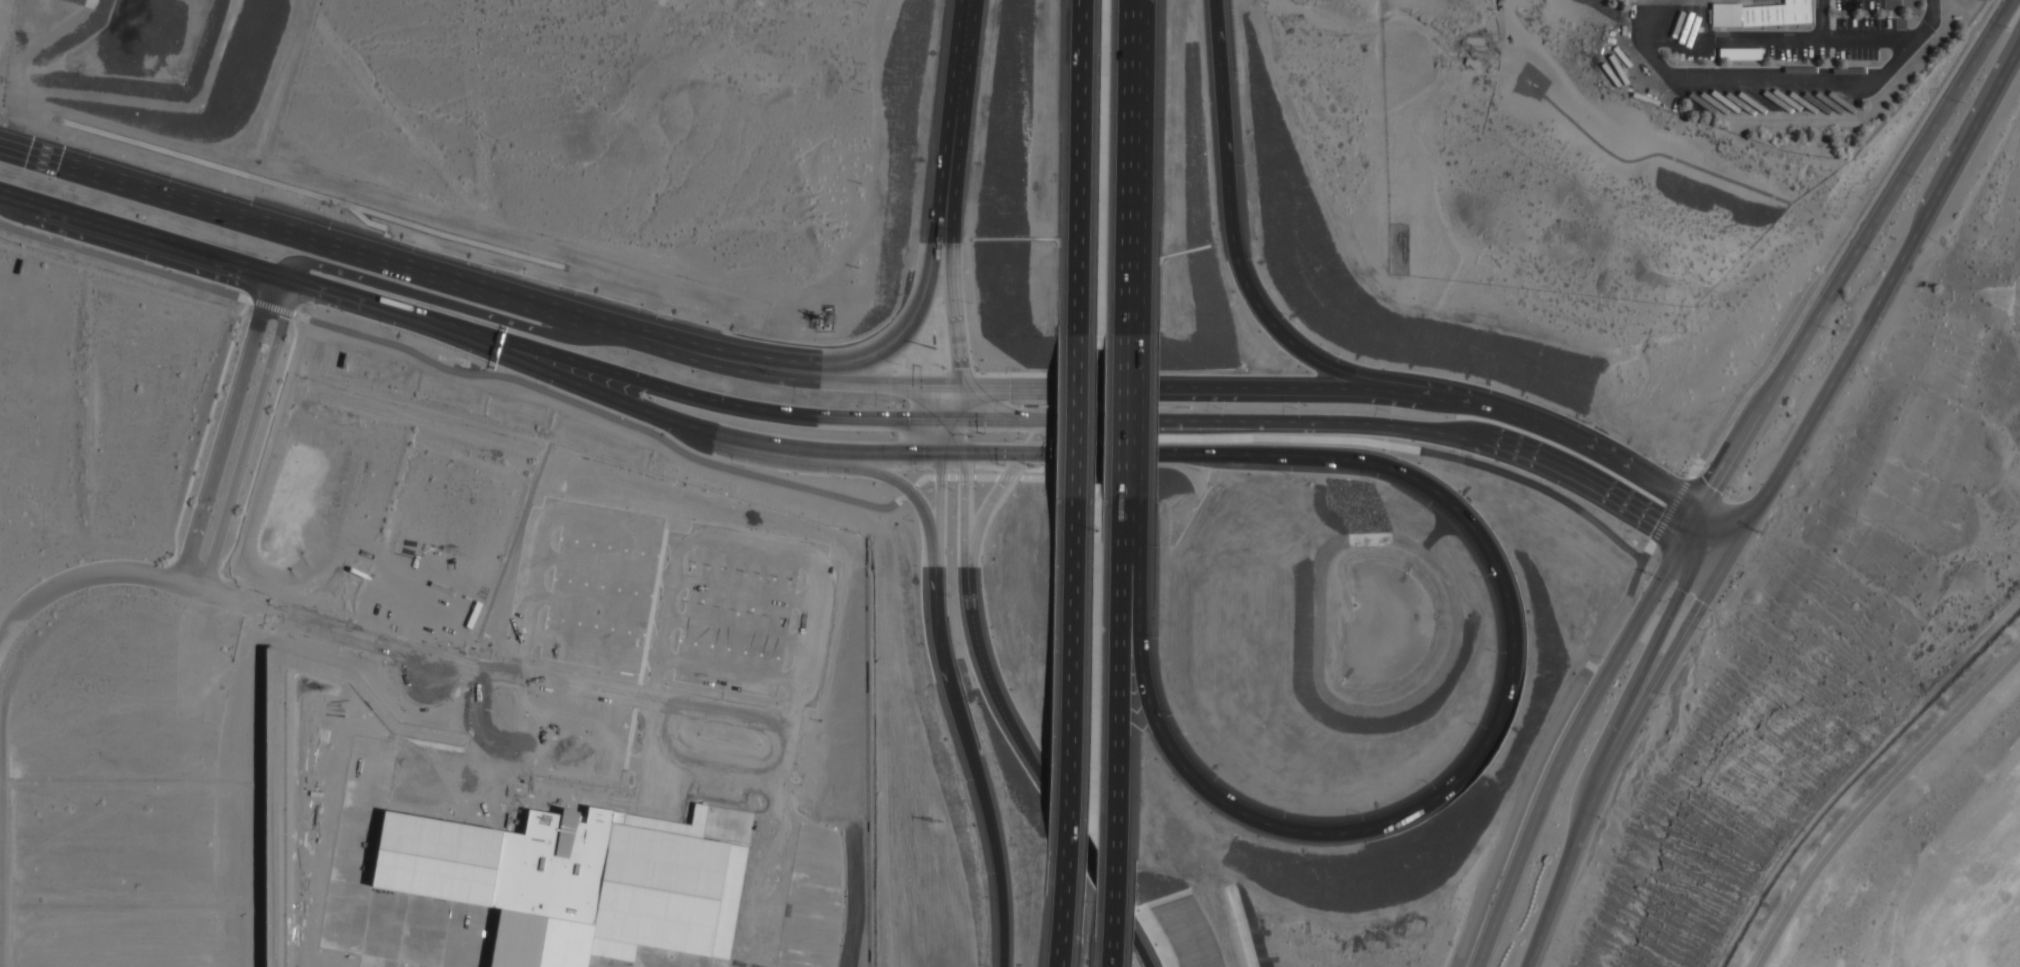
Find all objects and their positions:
building: (1759, 13)
road: (1820, 20)
parking lot: (1805, 36)
road: (1778, 40)
building: (1740, 53)
road: (1772, 83)
road: (961, 95)
road: (1924, 139)
road: (1074, 166)
road: (1128, 167)
road: (1953, 170)
road: (21, 200)
road: (1232, 231)
road: (158, 242)
road: (440, 276)
road: (955, 289)
road: (449, 301)
road: (371, 304)
road: (856, 364)
road: (1094, 386)
road: (905, 387)
road: (948, 388)
traffic signals: (966, 388)
road: (891, 389)
road: (1036, 393)
road: (974, 395)
road: (1770, 398)
road: (705, 401)
road: (926, 402)
road: (1073, 402)
road: (964, 408)
road: (1474, 408)
road: (1016, 412)
road: (1122, 415)
traffic signals: (948, 422)
road: (998, 422)
road: (1066, 422)
road: (1152, 422)
road: (696, 429)
road: (1049, 429)
road: (226, 430)
road: (1802, 432)
road: (247, 437)
road: (940, 437)
road: (959, 437)
road: (203, 444)
road: (1485, 447)
traffic signals: (940, 455)
road: (953, 455)
traffic signals: (966, 455)
road: (995, 455)
traffic signals: (1025, 455)
road: (260, 459)
road: (817, 465)
road: (1696, 468)
road: (832, 497)
road: (989, 509)
traffic signals: (1702, 517)
road: (1721, 527)
road: (1693, 531)
traffic signals: (1740, 538)
road: (682, 541)
traffic signals: (1684, 546)
traffic signals: (1694, 552)
traffic signals: (1721, 572)
road: (91, 577)
road: (676, 581)
parking lot: (676, 602)
road: (670, 620)
road: (666, 622)
road: (317, 626)
road: (975, 629)
road: (1071, 630)
road: (662, 660)
road: (1641, 671)
road: (474, 673)
road: (1118, 680)
road: (654, 703)
road: (959, 712)
road: (1502, 714)
road: (1565, 749)
parking lot: (578, 756)
road: (601, 759)
road: (1609, 762)
road: (669, 763)
road: (1874, 797)
road: (1068, 816)
road: (1071, 826)
airport: (1915, 844)
road: (772, 846)
building: (571, 883)
road: (1114, 892)
road: (1116, 902)
road: (1063, 905)
road: (1113, 943)
road: (1144, 954)

